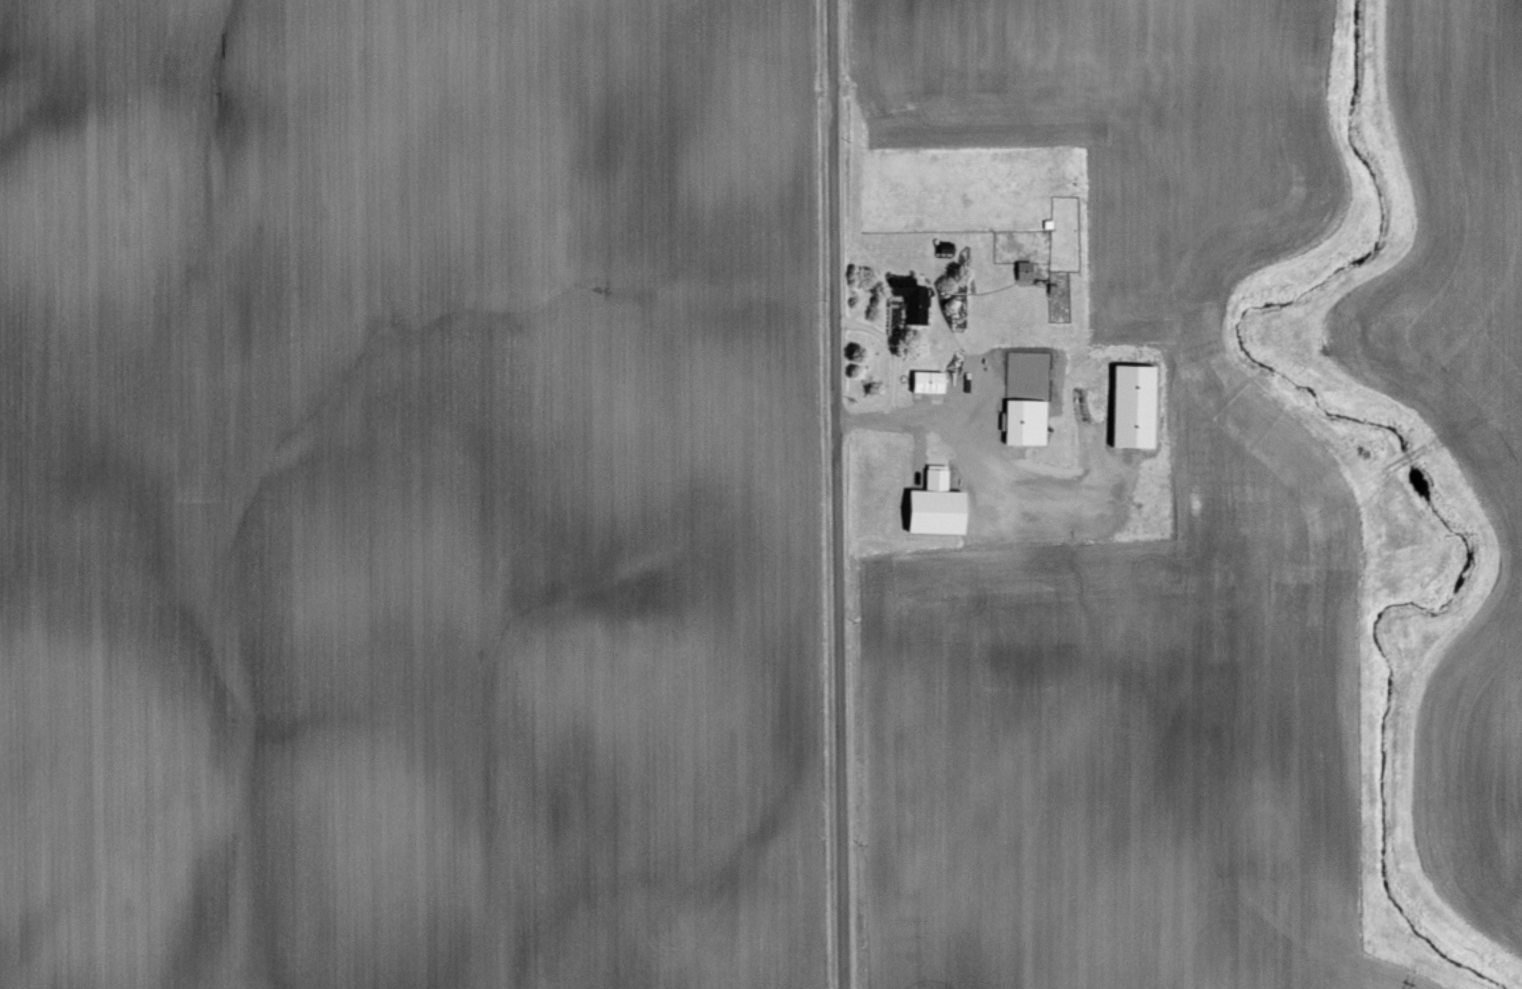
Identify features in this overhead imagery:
building: (1022, 272)
building: (915, 307)
road: (894, 350)
building: (926, 383)
building: (1131, 407)
building: (1024, 423)
road: (980, 469)
road: (837, 494)
building: (932, 508)

